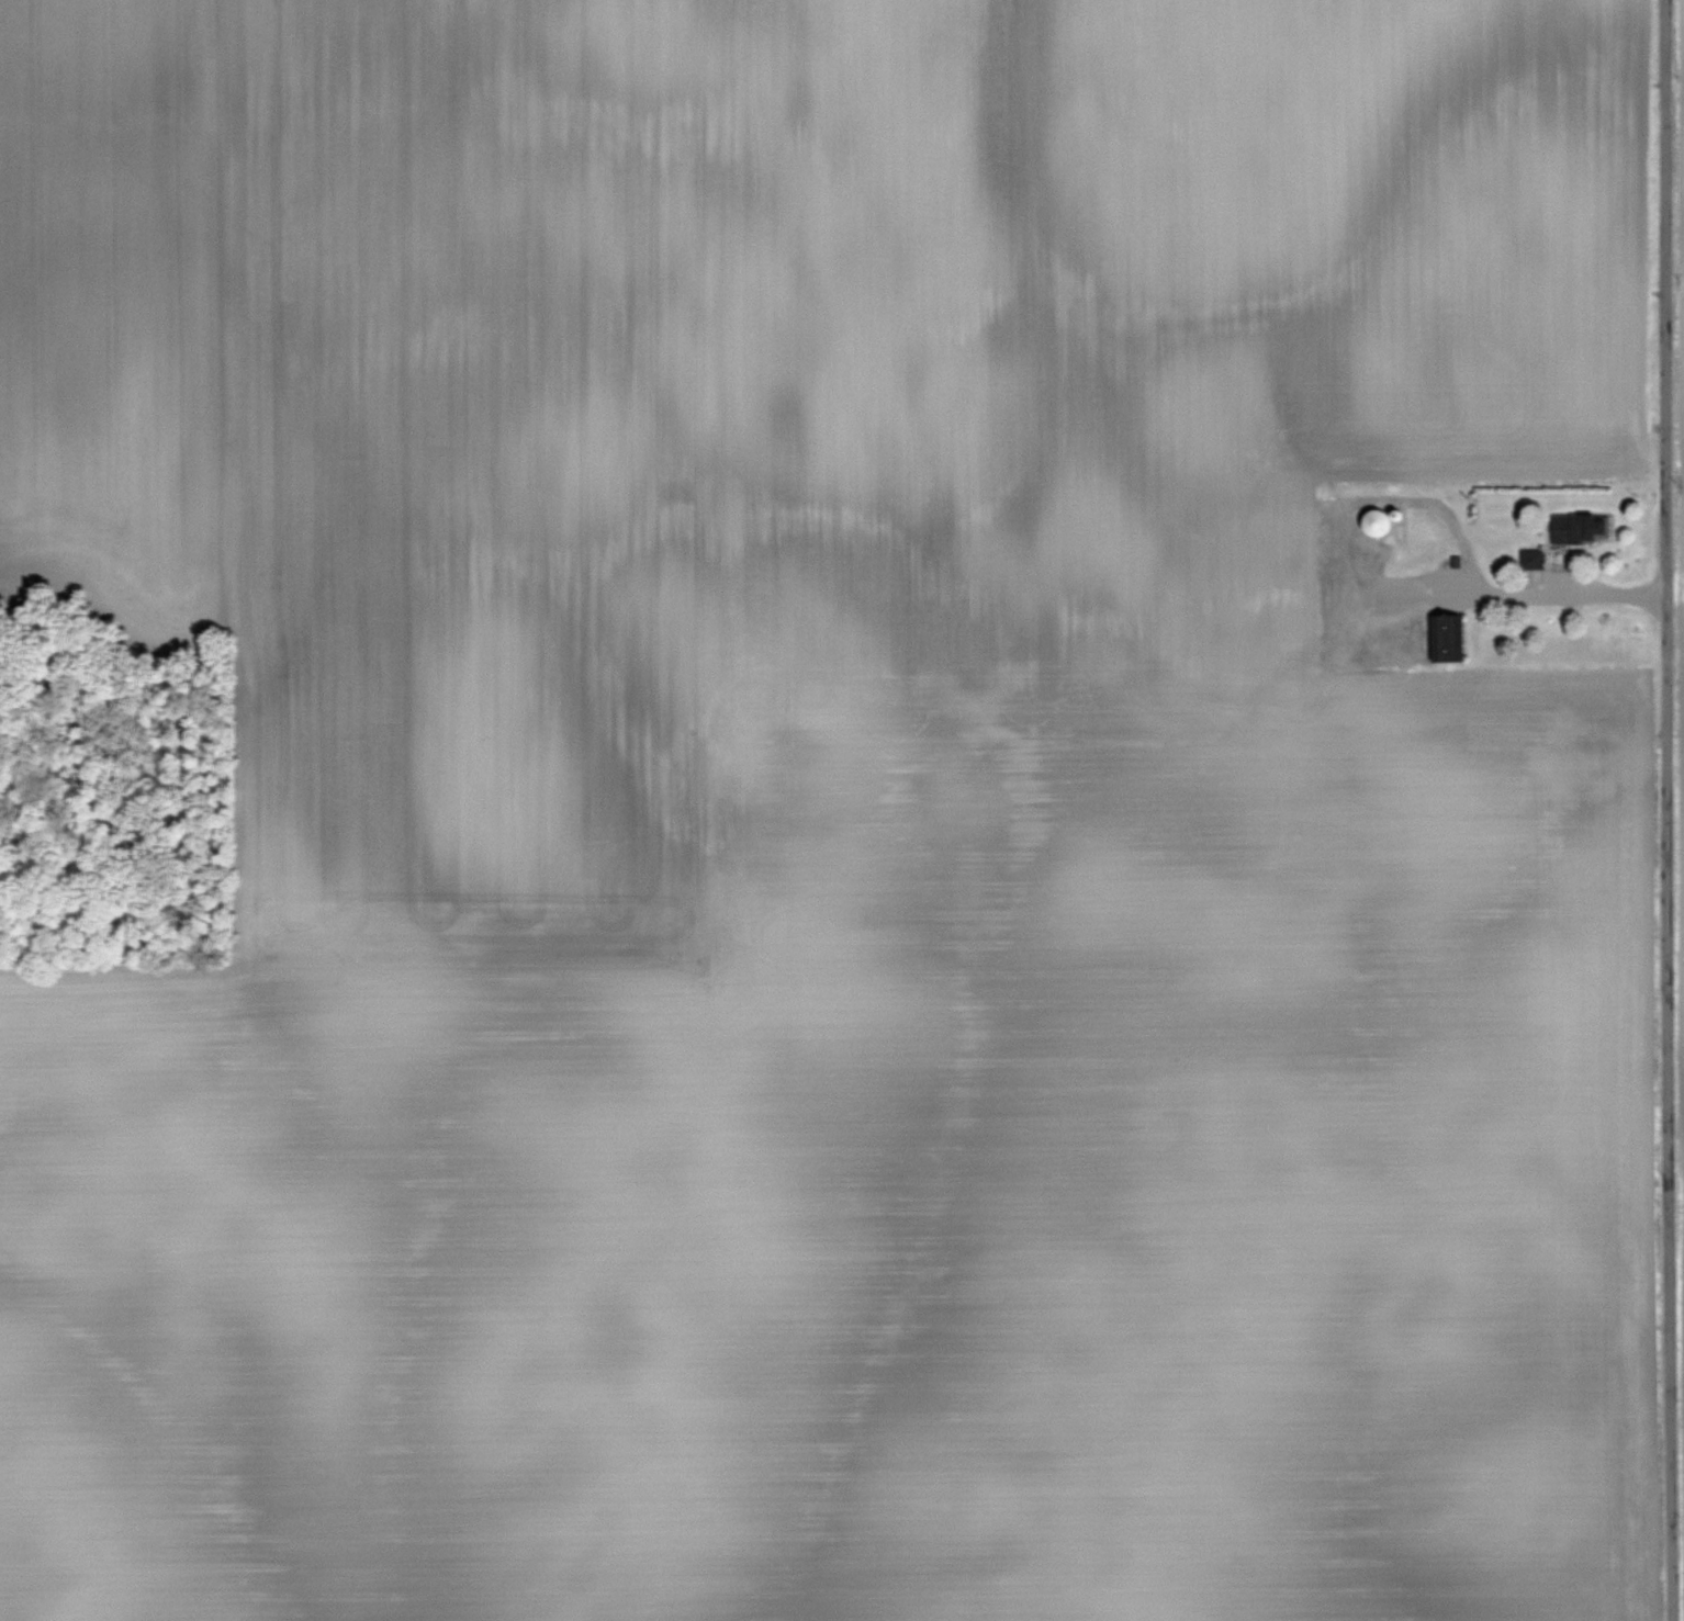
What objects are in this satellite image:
building: (1378, 524)
building: (1580, 529)
road: (1498, 592)
building: (1441, 639)
road: (1669, 810)

